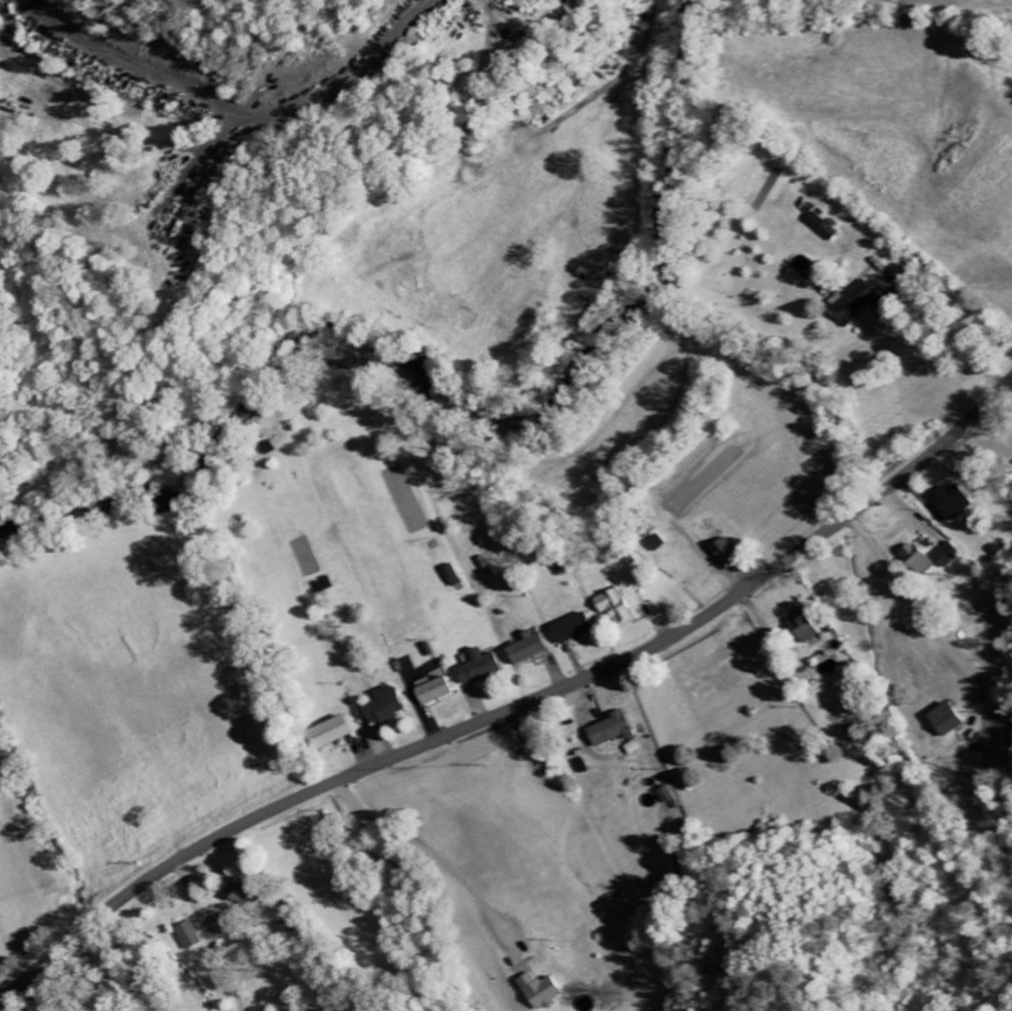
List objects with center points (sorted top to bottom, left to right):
building: (821, 227)
building: (853, 304)
road: (976, 479)
building: (947, 503)
building: (654, 543)
building: (943, 556)
building: (913, 560)
building: (614, 608)
building: (569, 629)
building: (801, 630)
building: (526, 649)
building: (475, 668)
building: (431, 690)
road: (516, 706)
building: (382, 707)
building: (942, 720)
building: (607, 731)
building: (327, 733)
building: (662, 795)
road: (431, 856)
building: (238, 892)
building: (185, 936)
road: (200, 939)
building: (541, 991)

